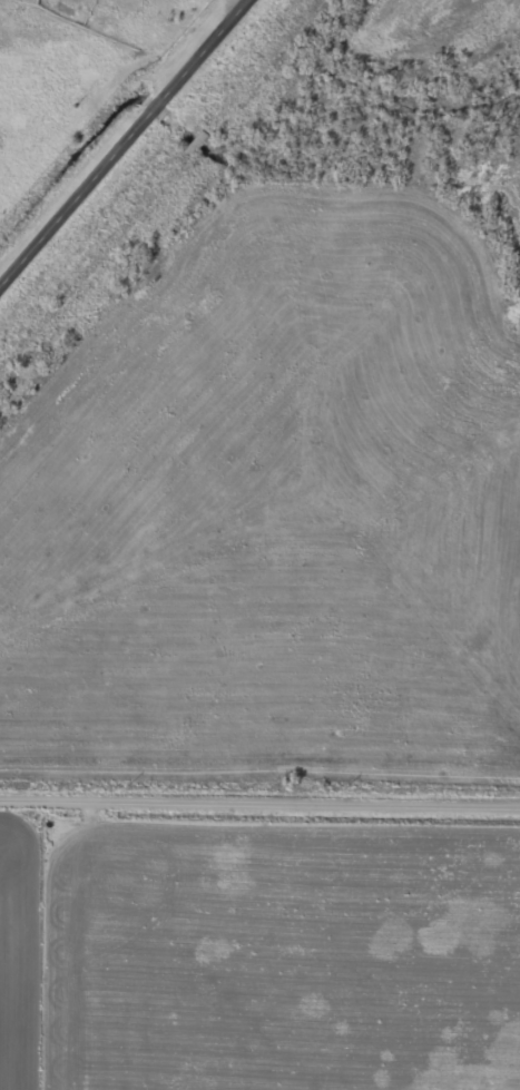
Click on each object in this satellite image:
road: (131, 151)
railway: (159, 184)
road: (259, 797)

